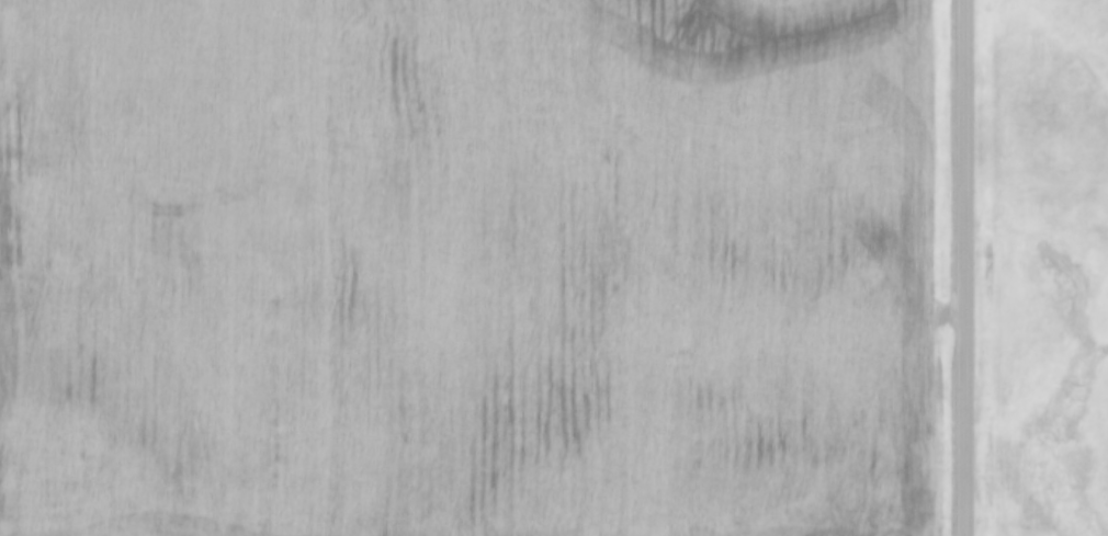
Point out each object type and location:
road: (970, 267)

